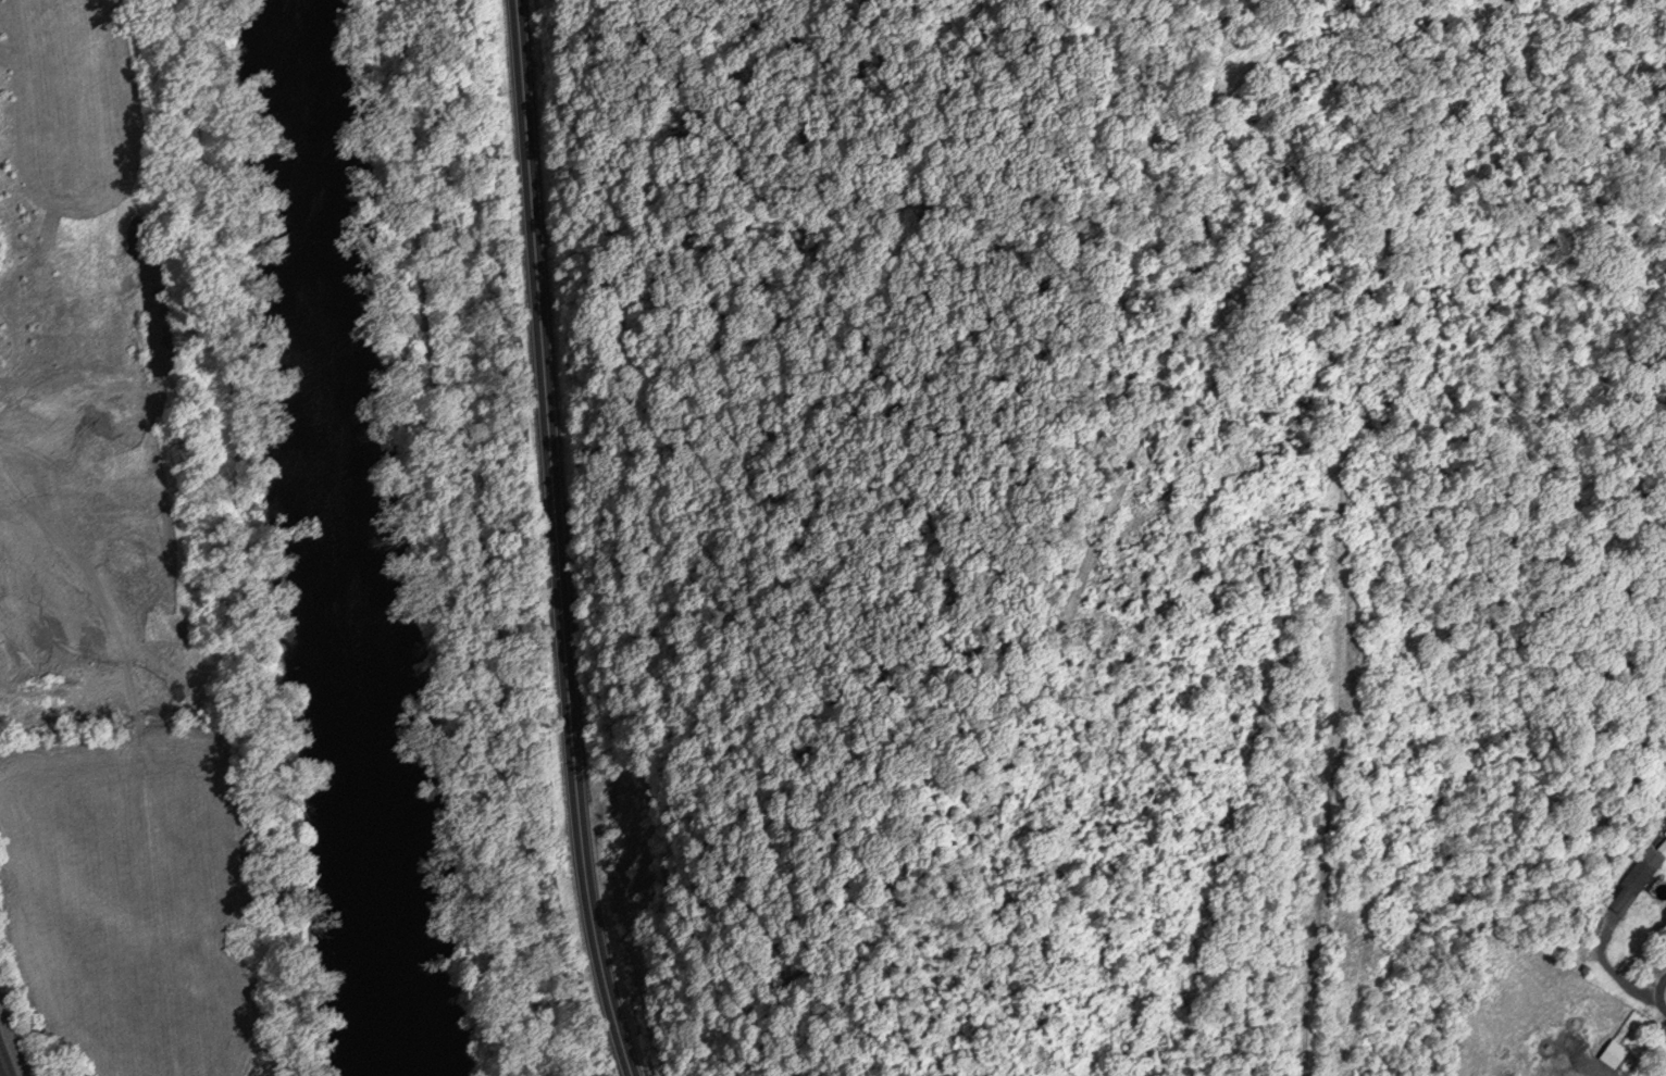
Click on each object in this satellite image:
road: (1344, 524)
river: (352, 538)
road: (450, 539)
road: (557, 540)
building: (1630, 886)
road: (1661, 993)
railway: (7, 1055)
railway: (1, 1071)

